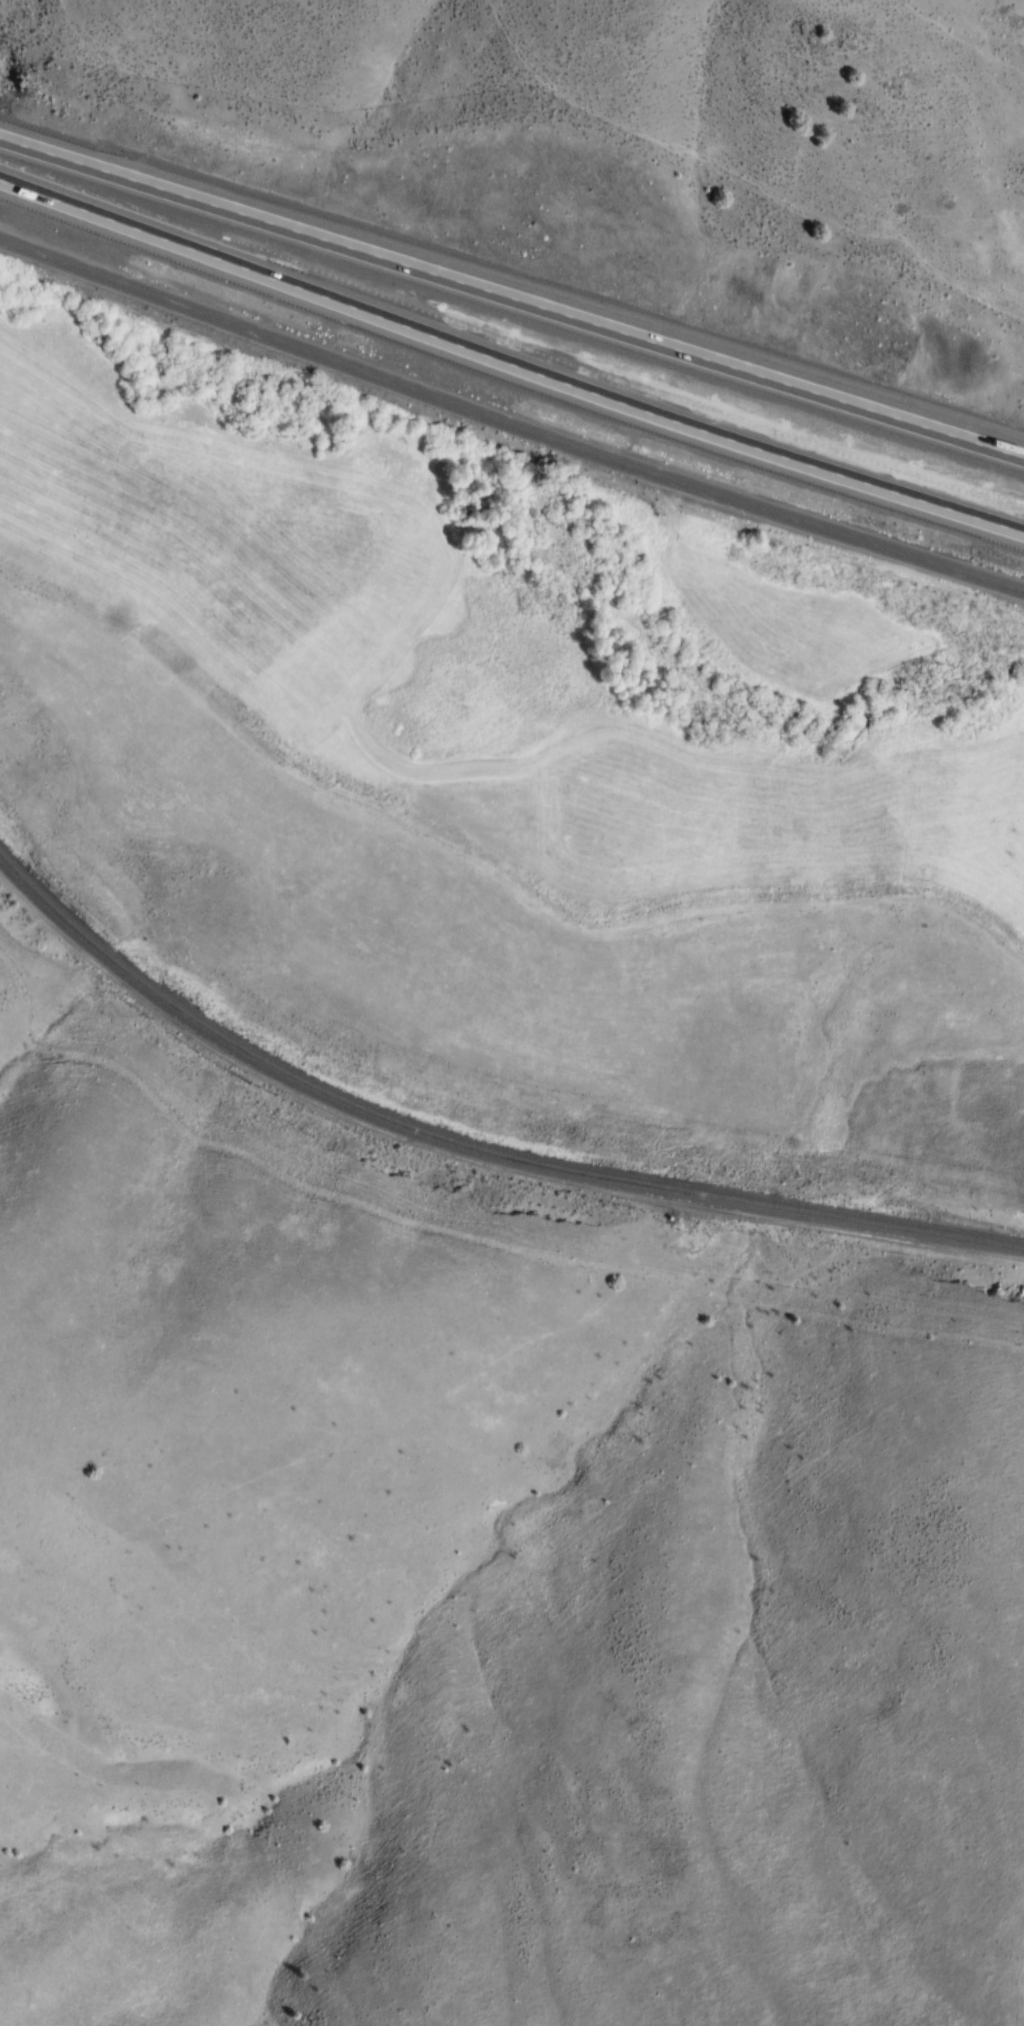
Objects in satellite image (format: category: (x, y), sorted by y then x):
road: (511, 295)
road: (511, 347)
road: (508, 424)
railway: (472, 1152)

